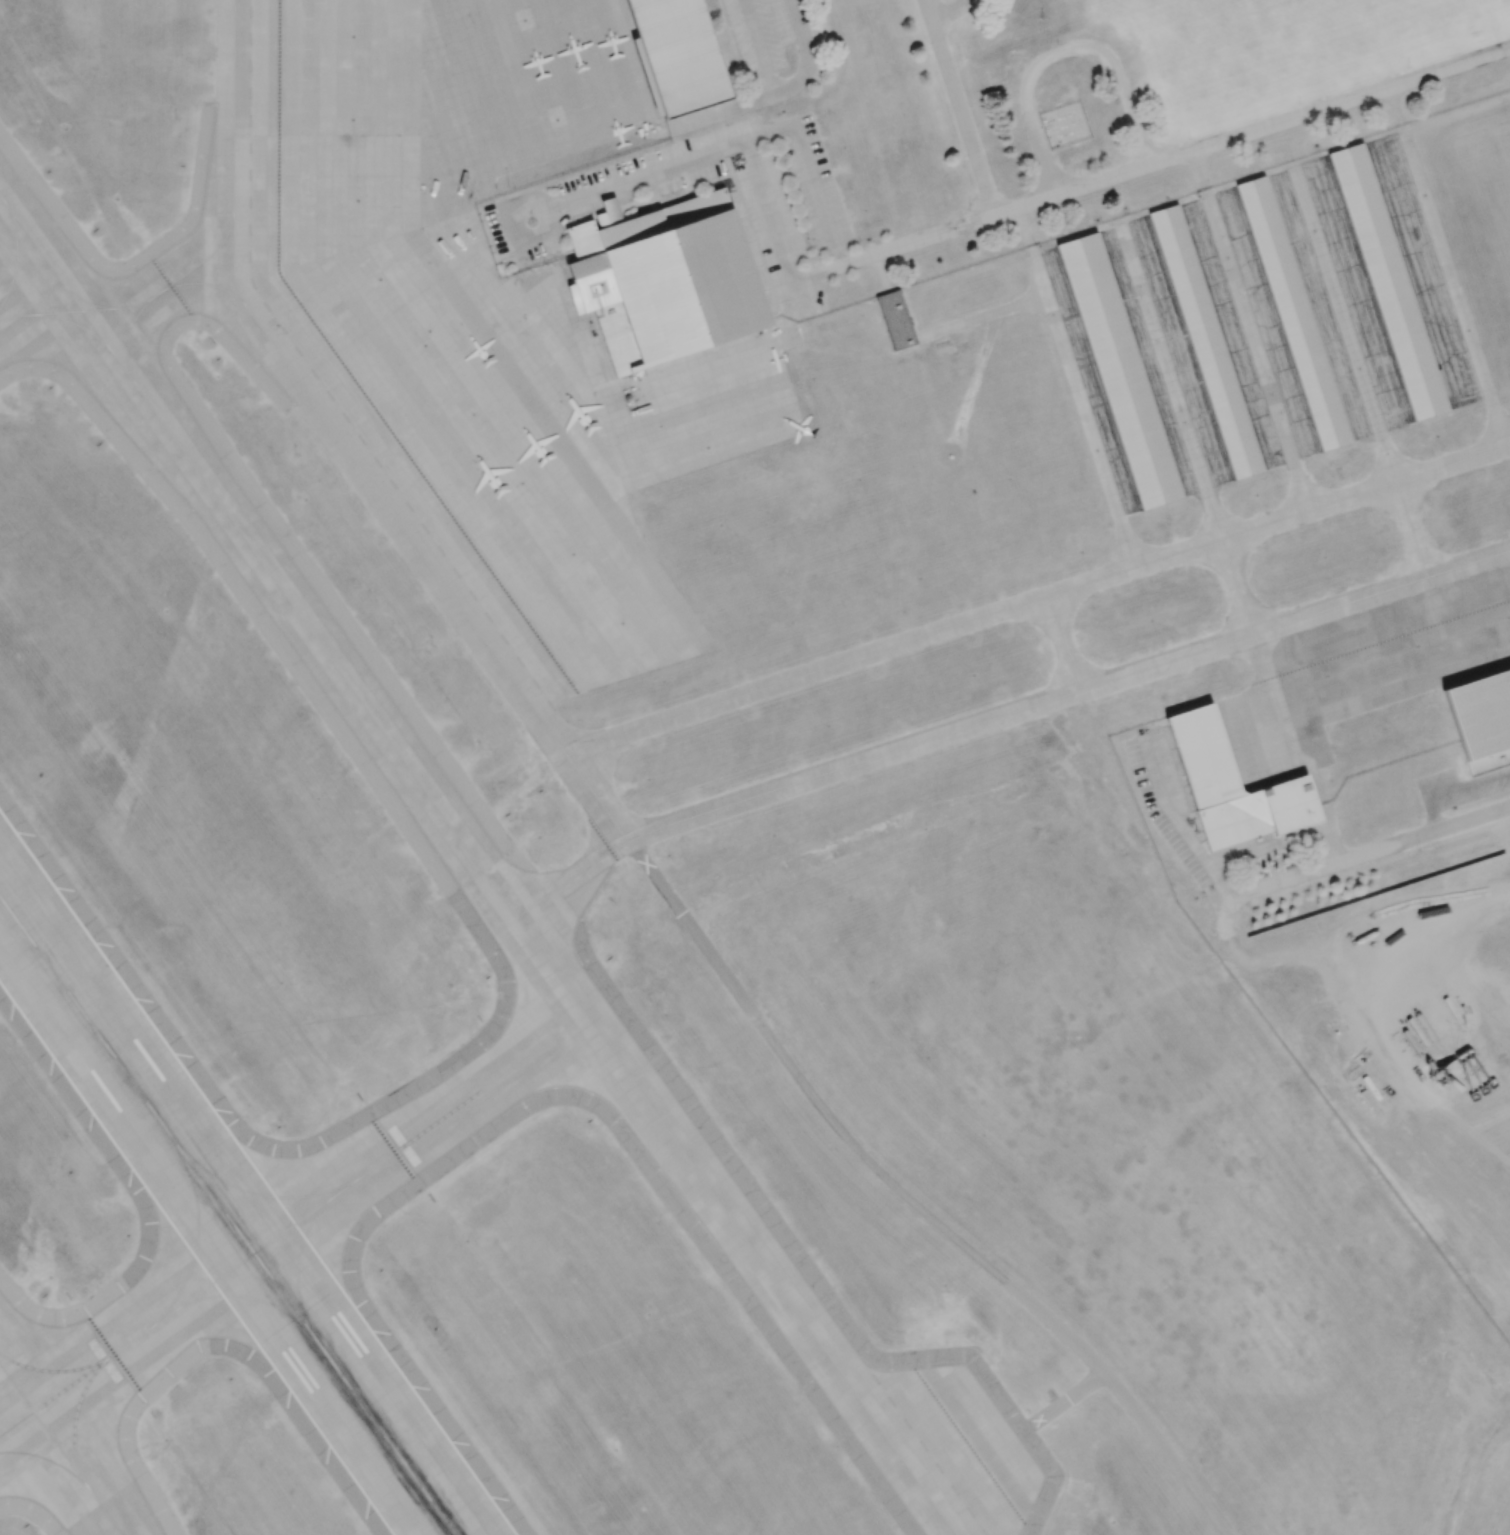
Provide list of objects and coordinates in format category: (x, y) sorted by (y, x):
road: (951, 12)
parking lot: (764, 31)
road: (759, 47)
road: (1059, 51)
building: (677, 55)
road: (766, 96)
road: (959, 108)
road: (1397, 108)
road: (739, 148)
airport taxiway: (233, 153)
road: (1164, 161)
road: (1201, 172)
road: (528, 204)
parking lot: (550, 209)
road: (772, 229)
road: (1026, 231)
airport taxiway: (16, 256)
airport hangar: (1387, 281)
building: (1387, 281)
airport hangar: (667, 282)
building: (667, 282)
airport taxiway: (1454, 287)
airport taxiway: (158, 292)
airport taxiway: (155, 294)
airport apron: (488, 308)
airport taxiway: (57, 313)
airport hangar: (1293, 313)
building: (1293, 313)
building: (896, 321)
airport taxiway: (78, 324)
airport hangar: (1206, 342)
building: (1206, 342)
airport taxiway: (1259, 352)
airport hangar: (1120, 371)
building: (1120, 371)
airport taxiway: (1358, 372)
airport taxiway: (1170, 382)
airport taxiway: (1083, 411)
airport taxiway: (1365, 491)
airport taxiway: (1132, 566)
airport taxiway: (436, 571)
airport taxiway: (1059, 644)
airport taxiway: (1253, 645)
airport apron: (1362, 665)
airport taxiway: (805, 673)
airport taxiway: (1004, 714)
airport hangar: (1482, 719)
building: (1482, 719)
airport: (755, 767)
building: (1231, 784)
parking lot: (1486, 785)
parking lot: (1168, 798)
road: (1184, 826)
road: (618, 828)
road: (1378, 850)
airport taxiway: (478, 864)
airport taxiway: (251, 1192)
airport runway: (227, 1215)
airport taxiway: (293, 1226)
airport taxiway: (196, 1235)
airport taxiway: (298, 1260)
airport taxiway: (253, 1298)
airport taxiway: (56, 1370)
airport taxiway: (77, 1412)
airport apron: (953, 1447)
airport taxiway: (62, 1448)
airport taxiway: (44, 1458)
road: (1476, 1467)

